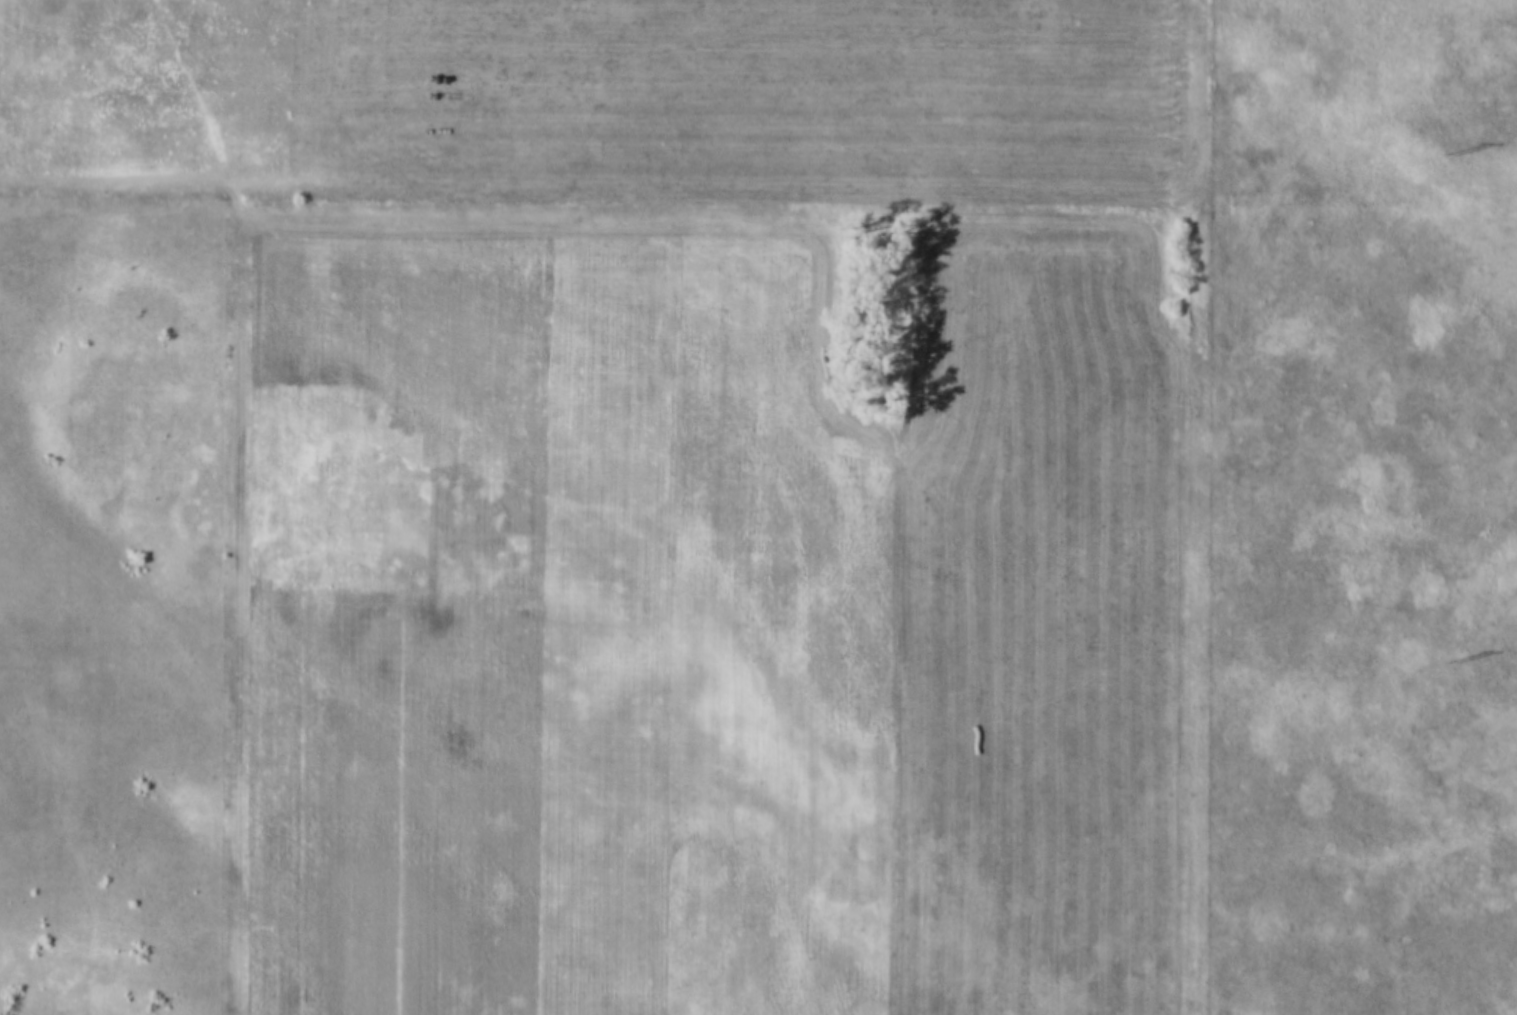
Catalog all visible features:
power tower: (1453, 152)
power tower: (1453, 662)

